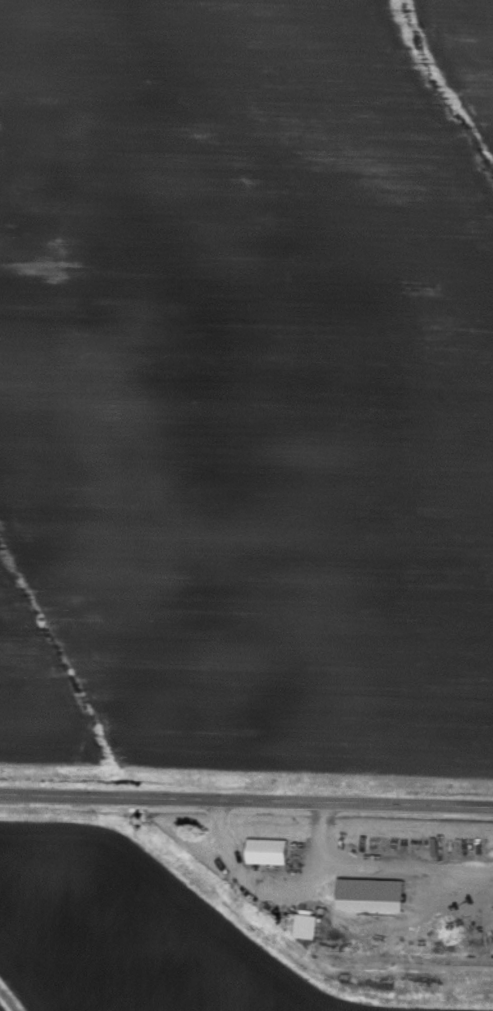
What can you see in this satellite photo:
road: (246, 800)
building: (268, 853)
building: (306, 928)
building: (482, 952)

